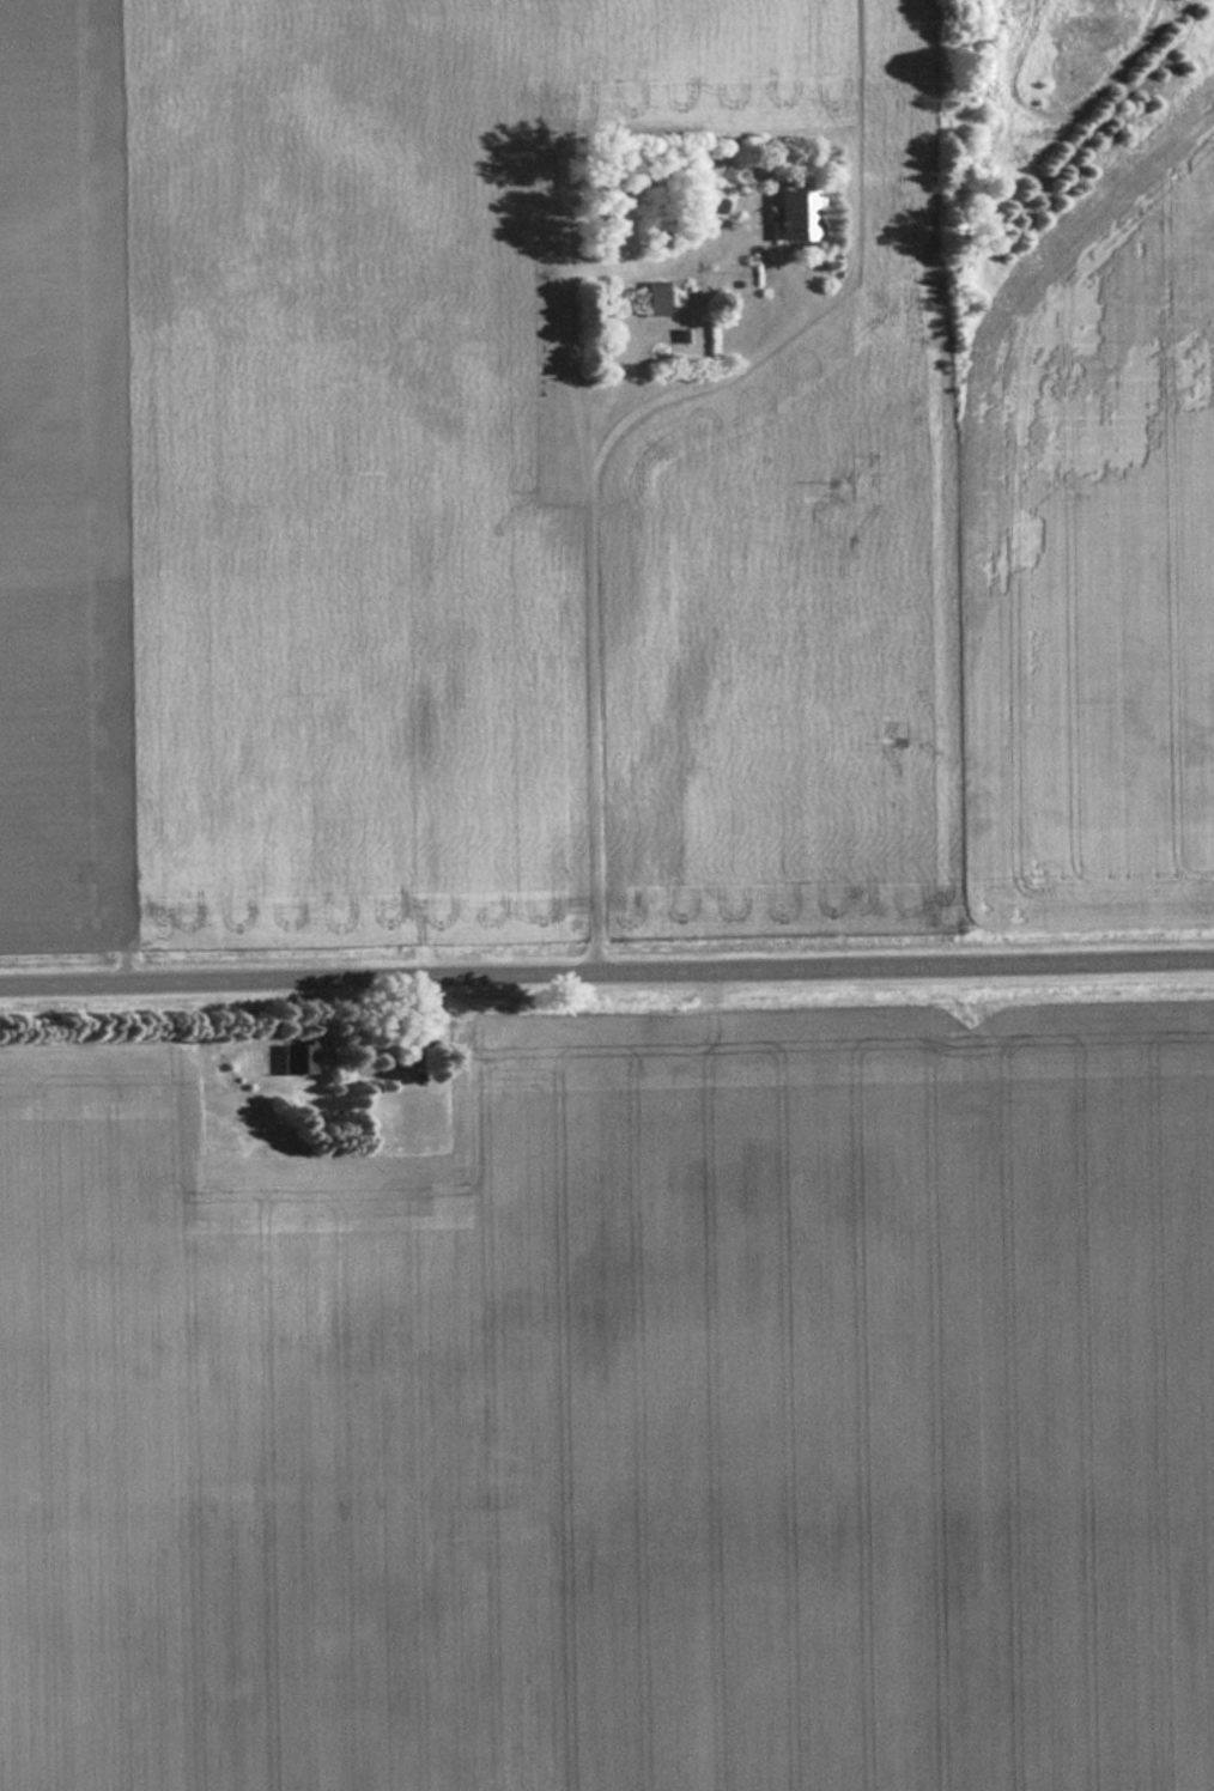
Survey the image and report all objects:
building: (708, 196)
building: (796, 213)
building: (654, 297)
road: (607, 963)
building: (297, 1056)

